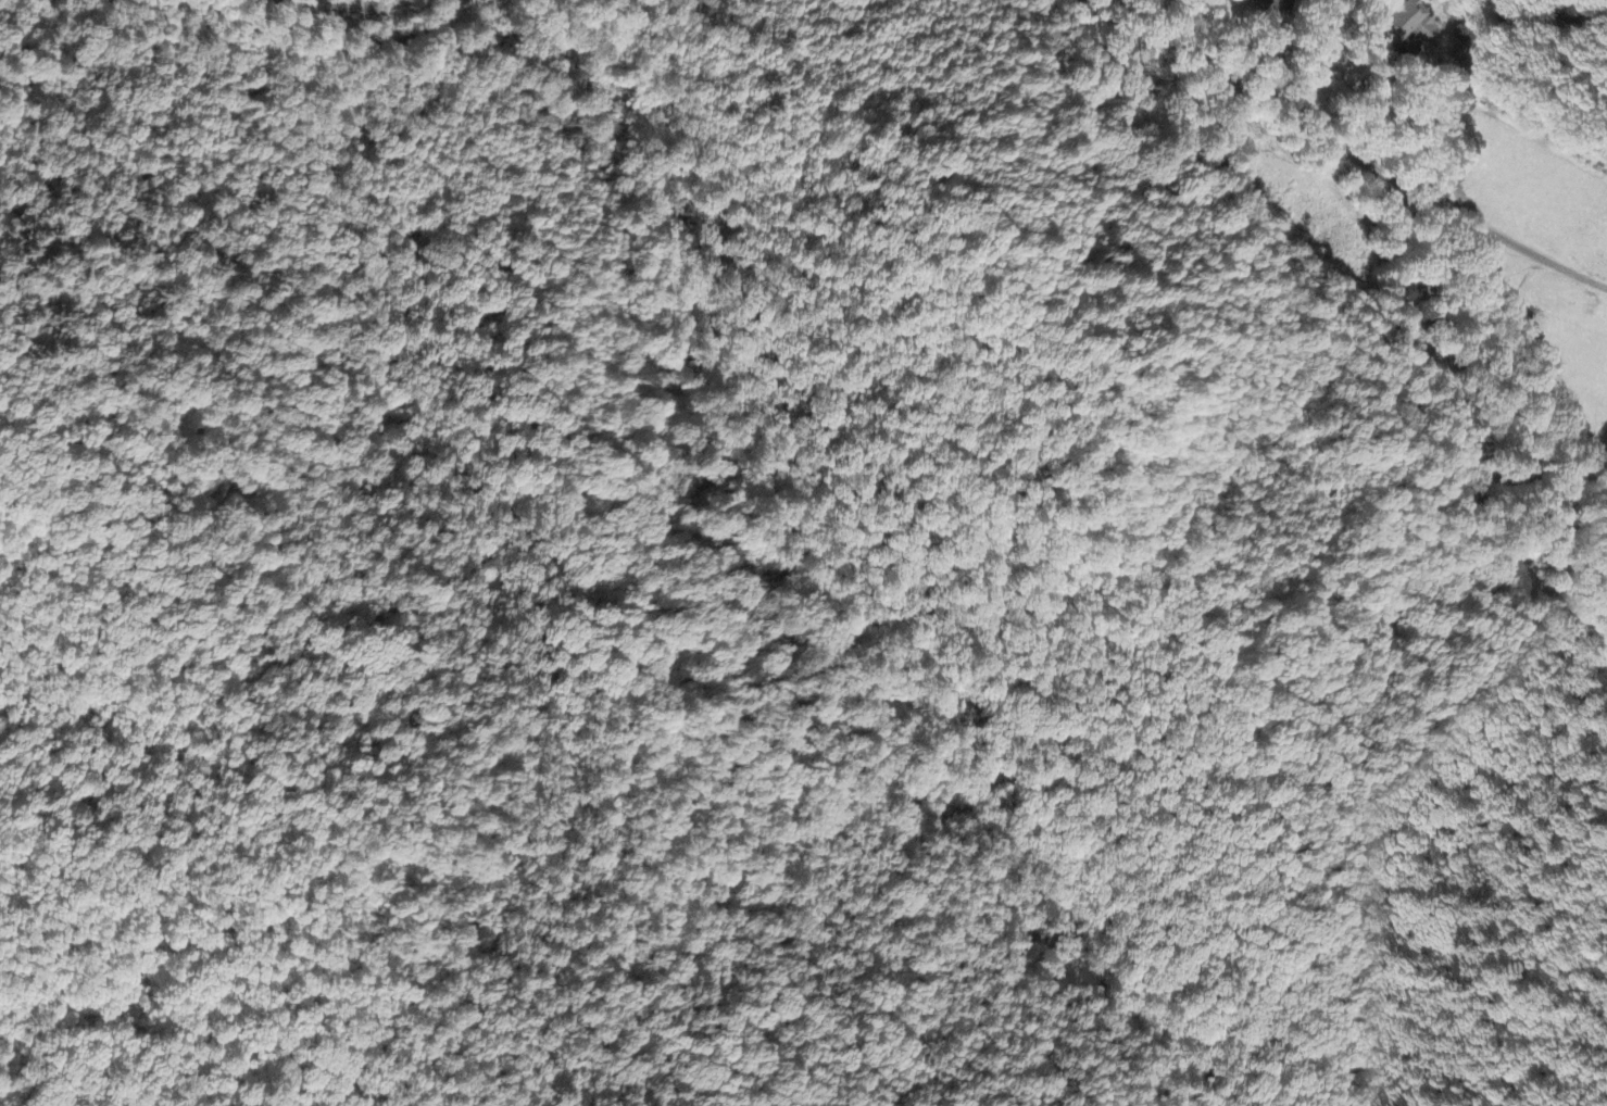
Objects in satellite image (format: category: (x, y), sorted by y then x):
building: (1271, 7)
road: (385, 14)
building: (1418, 29)
road: (1565, 81)
road: (1388, 143)
dam: (1340, 191)
dam: (1286, 252)

